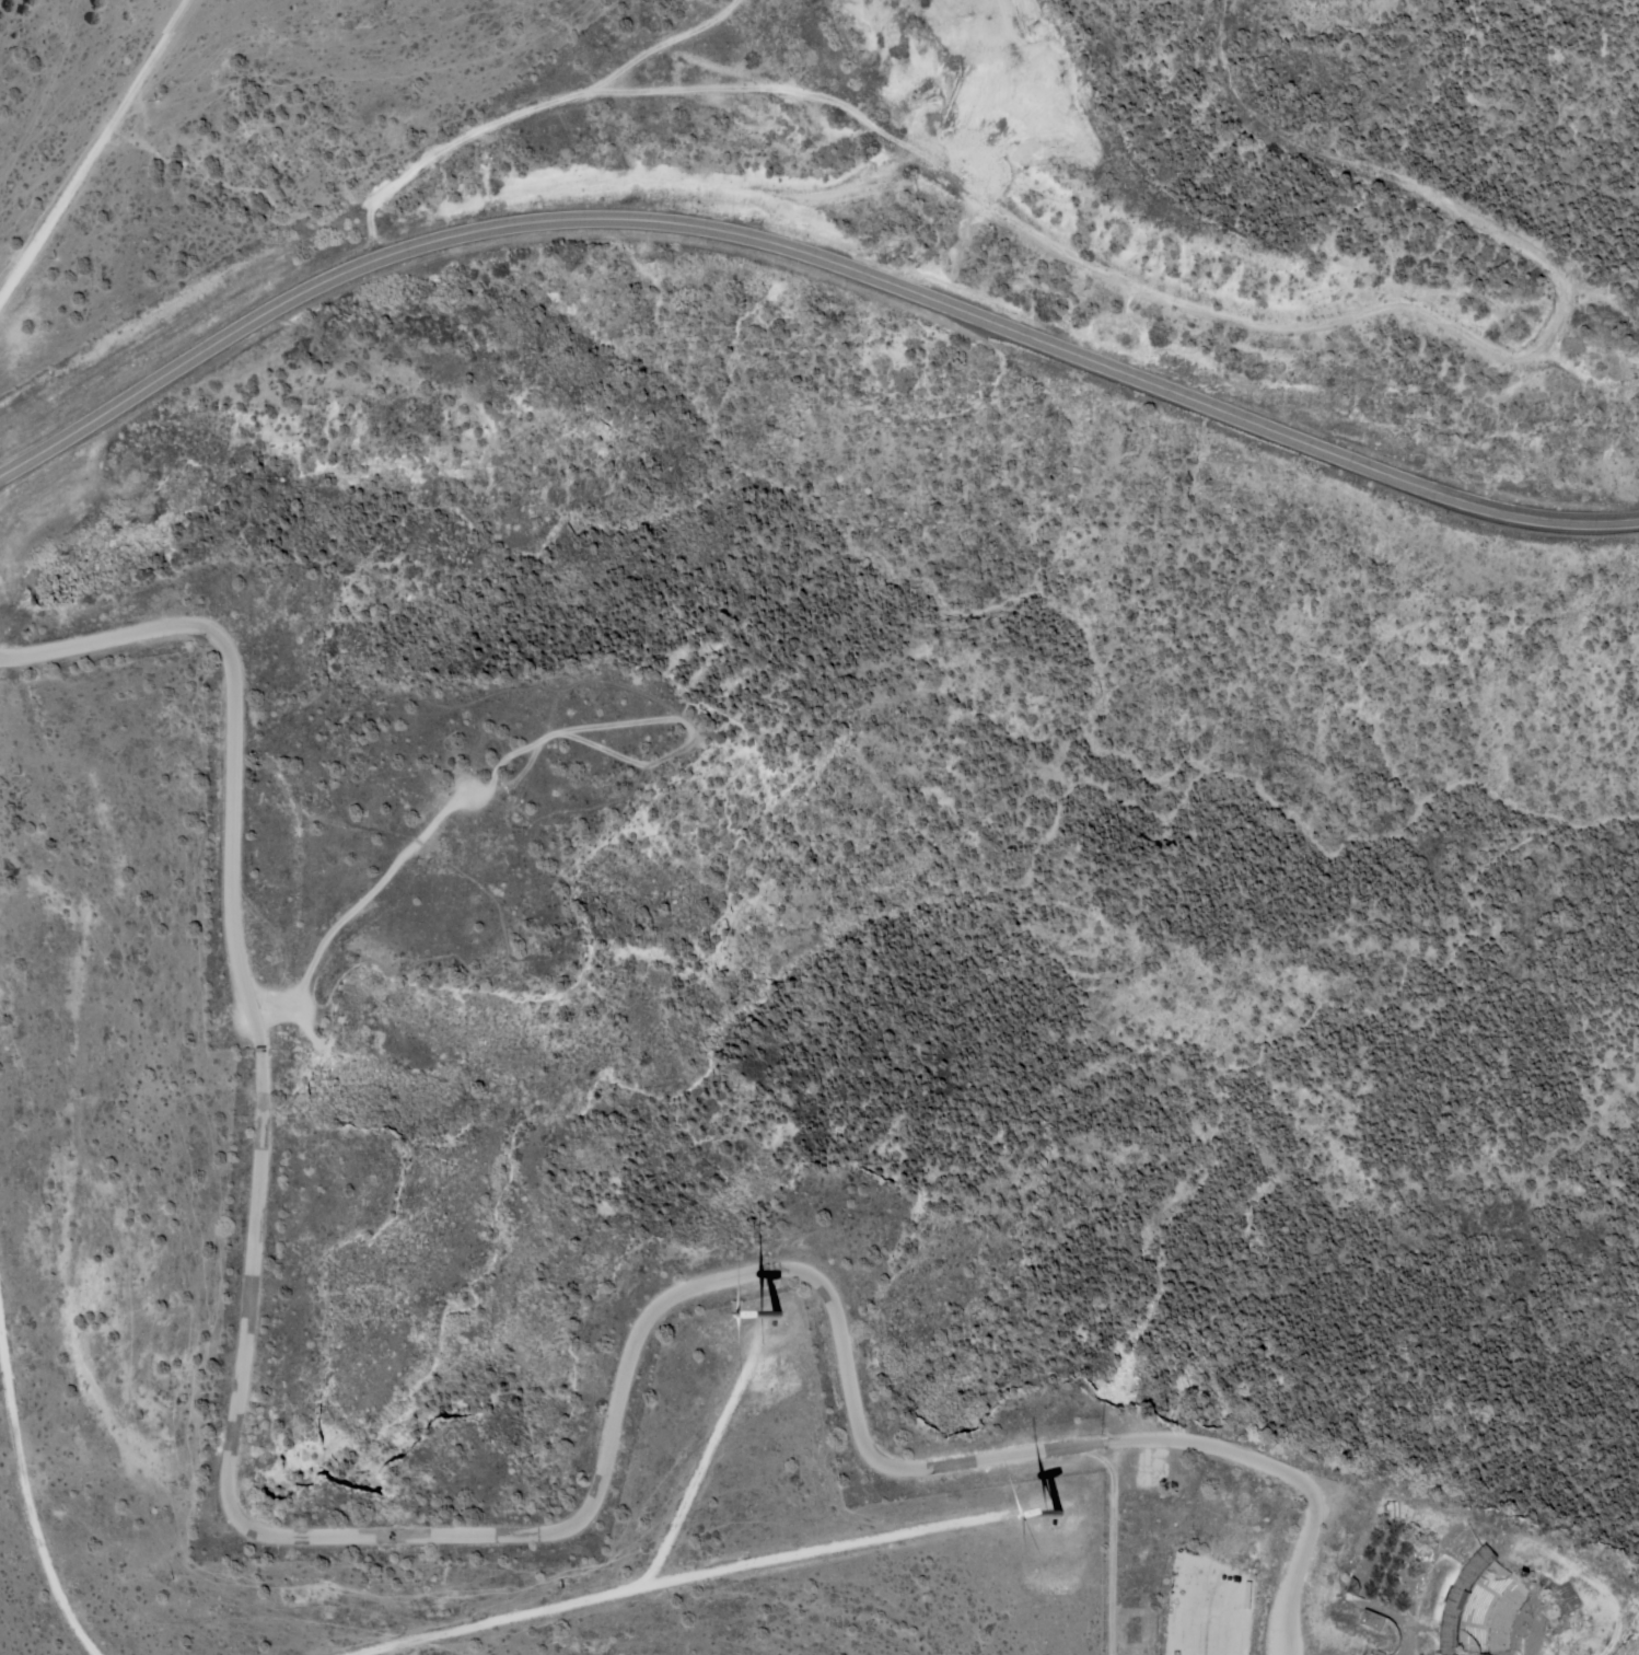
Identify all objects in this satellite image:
road: (95, 148)
road: (809, 255)
road: (1177, 299)
road: (422, 699)
road: (617, 725)
road: (535, 821)
road: (392, 865)
road: (480, 886)
road: (373, 919)
road: (573, 937)
road: (542, 959)
road: (414, 963)
road: (302, 995)
road: (317, 1006)
parking lot: (278, 1010)
park: (295, 1042)
road: (321, 1051)
wind turbine: (774, 1315)
road: (1102, 1455)
road: (1115, 1456)
road: (698, 1475)
road: (26, 1502)
building: (1396, 1506)
wind turbine: (1059, 1518)
road: (456, 1535)
road: (822, 1550)
road: (1109, 1564)
building: (1526, 1574)
building: (1355, 1586)
building: (1461, 1598)
parking lot: (1206, 1606)
building: (1489, 1611)
building: (1371, 1620)
road: (491, 1623)
building: (1371, 1651)

